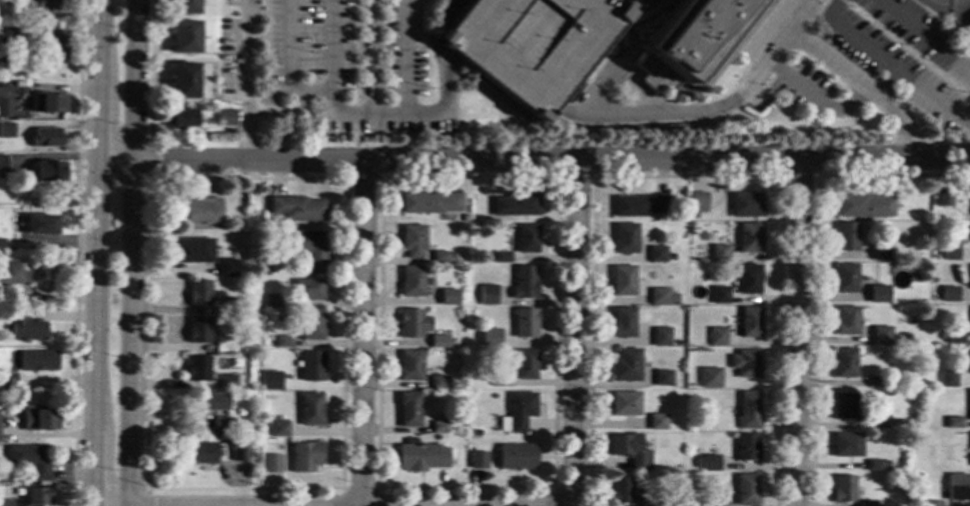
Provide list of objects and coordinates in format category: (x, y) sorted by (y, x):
building: (673, 0)
building: (772, 0)
road: (845, 3)
building: (47, 5)
road: (949, 5)
building: (184, 7)
road: (633, 8)
road: (654, 8)
road: (823, 8)
building: (7, 13)
building: (645, 13)
road: (416, 23)
road: (954, 27)
building: (8, 34)
parking lot: (921, 36)
road: (923, 36)
building: (185, 37)
building: (696, 40)
road: (766, 40)
building: (56, 45)
road: (328, 45)
building: (531, 45)
parking lot: (531, 45)
road: (910, 53)
road: (629, 54)
road: (372, 58)
parking lot: (353, 65)
road: (893, 67)
parking lot: (898, 71)
road: (151, 72)
road: (844, 76)
road: (619, 77)
building: (184, 81)
road: (248, 81)
road: (356, 81)
road: (887, 86)
road: (799, 88)
parking lot: (804, 89)
building: (5, 92)
road: (752, 93)
parking lot: (759, 99)
building: (48, 103)
road: (445, 105)
building: (6, 108)
road: (672, 114)
road: (347, 117)
building: (225, 118)
building: (180, 119)
building: (6, 131)
building: (46, 138)
road: (534, 161)
building: (3, 163)
road: (151, 163)
building: (50, 172)
road: (799, 177)
road: (557, 178)
road: (576, 178)
road: (688, 178)
road: (354, 179)
building: (943, 199)
building: (696, 202)
building: (429, 203)
building: (515, 205)
building: (744, 205)
building: (637, 206)
building: (862, 206)
building: (296, 209)
building: (202, 211)
building: (464, 218)
building: (41, 225)
building: (845, 237)
building: (527, 238)
building: (749, 238)
building: (624, 239)
building: (412, 241)
building: (1, 244)
building: (305, 249)
building: (191, 251)
road: (77, 253)
road: (98, 253)
road: (130, 253)
building: (718, 253)
building: (880, 253)
building: (949, 253)
building: (656, 254)
building: (501, 257)
building: (439, 258)
road: (815, 265)
building: (225, 268)
building: (267, 272)
building: (11, 276)
building: (845, 278)
building: (747, 279)
building: (622, 281)
building: (411, 282)
building: (523, 283)
building: (307, 290)
building: (198, 293)
building: (878, 294)
building: (949, 294)
building: (487, 295)
building: (719, 295)
building: (661, 297)
building: (439, 299)
building: (273, 300)
building: (230, 305)
building: (846, 321)
building: (750, 322)
building: (524, 323)
building: (622, 323)
building: (411, 324)
building: (23, 325)
building: (311, 325)
building: (197, 331)
road: (575, 333)
road: (797, 333)
road: (362, 334)
building: (716, 336)
building: (880, 336)
building: (941, 336)
building: (660, 337)
building: (953, 337)
building: (497, 341)
building: (283, 342)
building: (438, 342)
building: (244, 346)
building: (37, 361)
building: (745, 363)
building: (843, 363)
building: (525, 365)
building: (311, 366)
building: (409, 366)
building: (625, 366)
building: (197, 368)
building: (662, 378)
building: (709, 378)
building: (946, 379)
building: (226, 381)
building: (499, 381)
building: (875, 381)
building: (7, 382)
building: (278, 382)
building: (437, 383)
building: (210, 402)
building: (624, 404)
building: (968, 405)
building: (842, 406)
building: (407, 409)
building: (310, 410)
building: (748, 410)
building: (517, 412)
building: (38, 419)
building: (877, 420)
building: (656, 422)
building: (952, 422)
building: (221, 425)
building: (438, 427)
building: (277, 429)
building: (846, 445)
building: (746, 448)
building: (629, 450)
building: (969, 450)
building: (966, 452)
building: (238, 453)
building: (200, 456)
building: (419, 456)
building: (304, 457)
building: (516, 457)
building: (477, 460)
building: (28, 461)
building: (271, 464)
building: (706, 464)
building: (875, 466)
building: (958, 487)
road: (341, 488)
road: (358, 489)
building: (842, 489)
building: (745, 490)
building: (627, 493)
building: (37, 496)
road: (553, 497)
building: (709, 501)
building: (5, 503)
building: (931, 503)
building: (867, 504)

